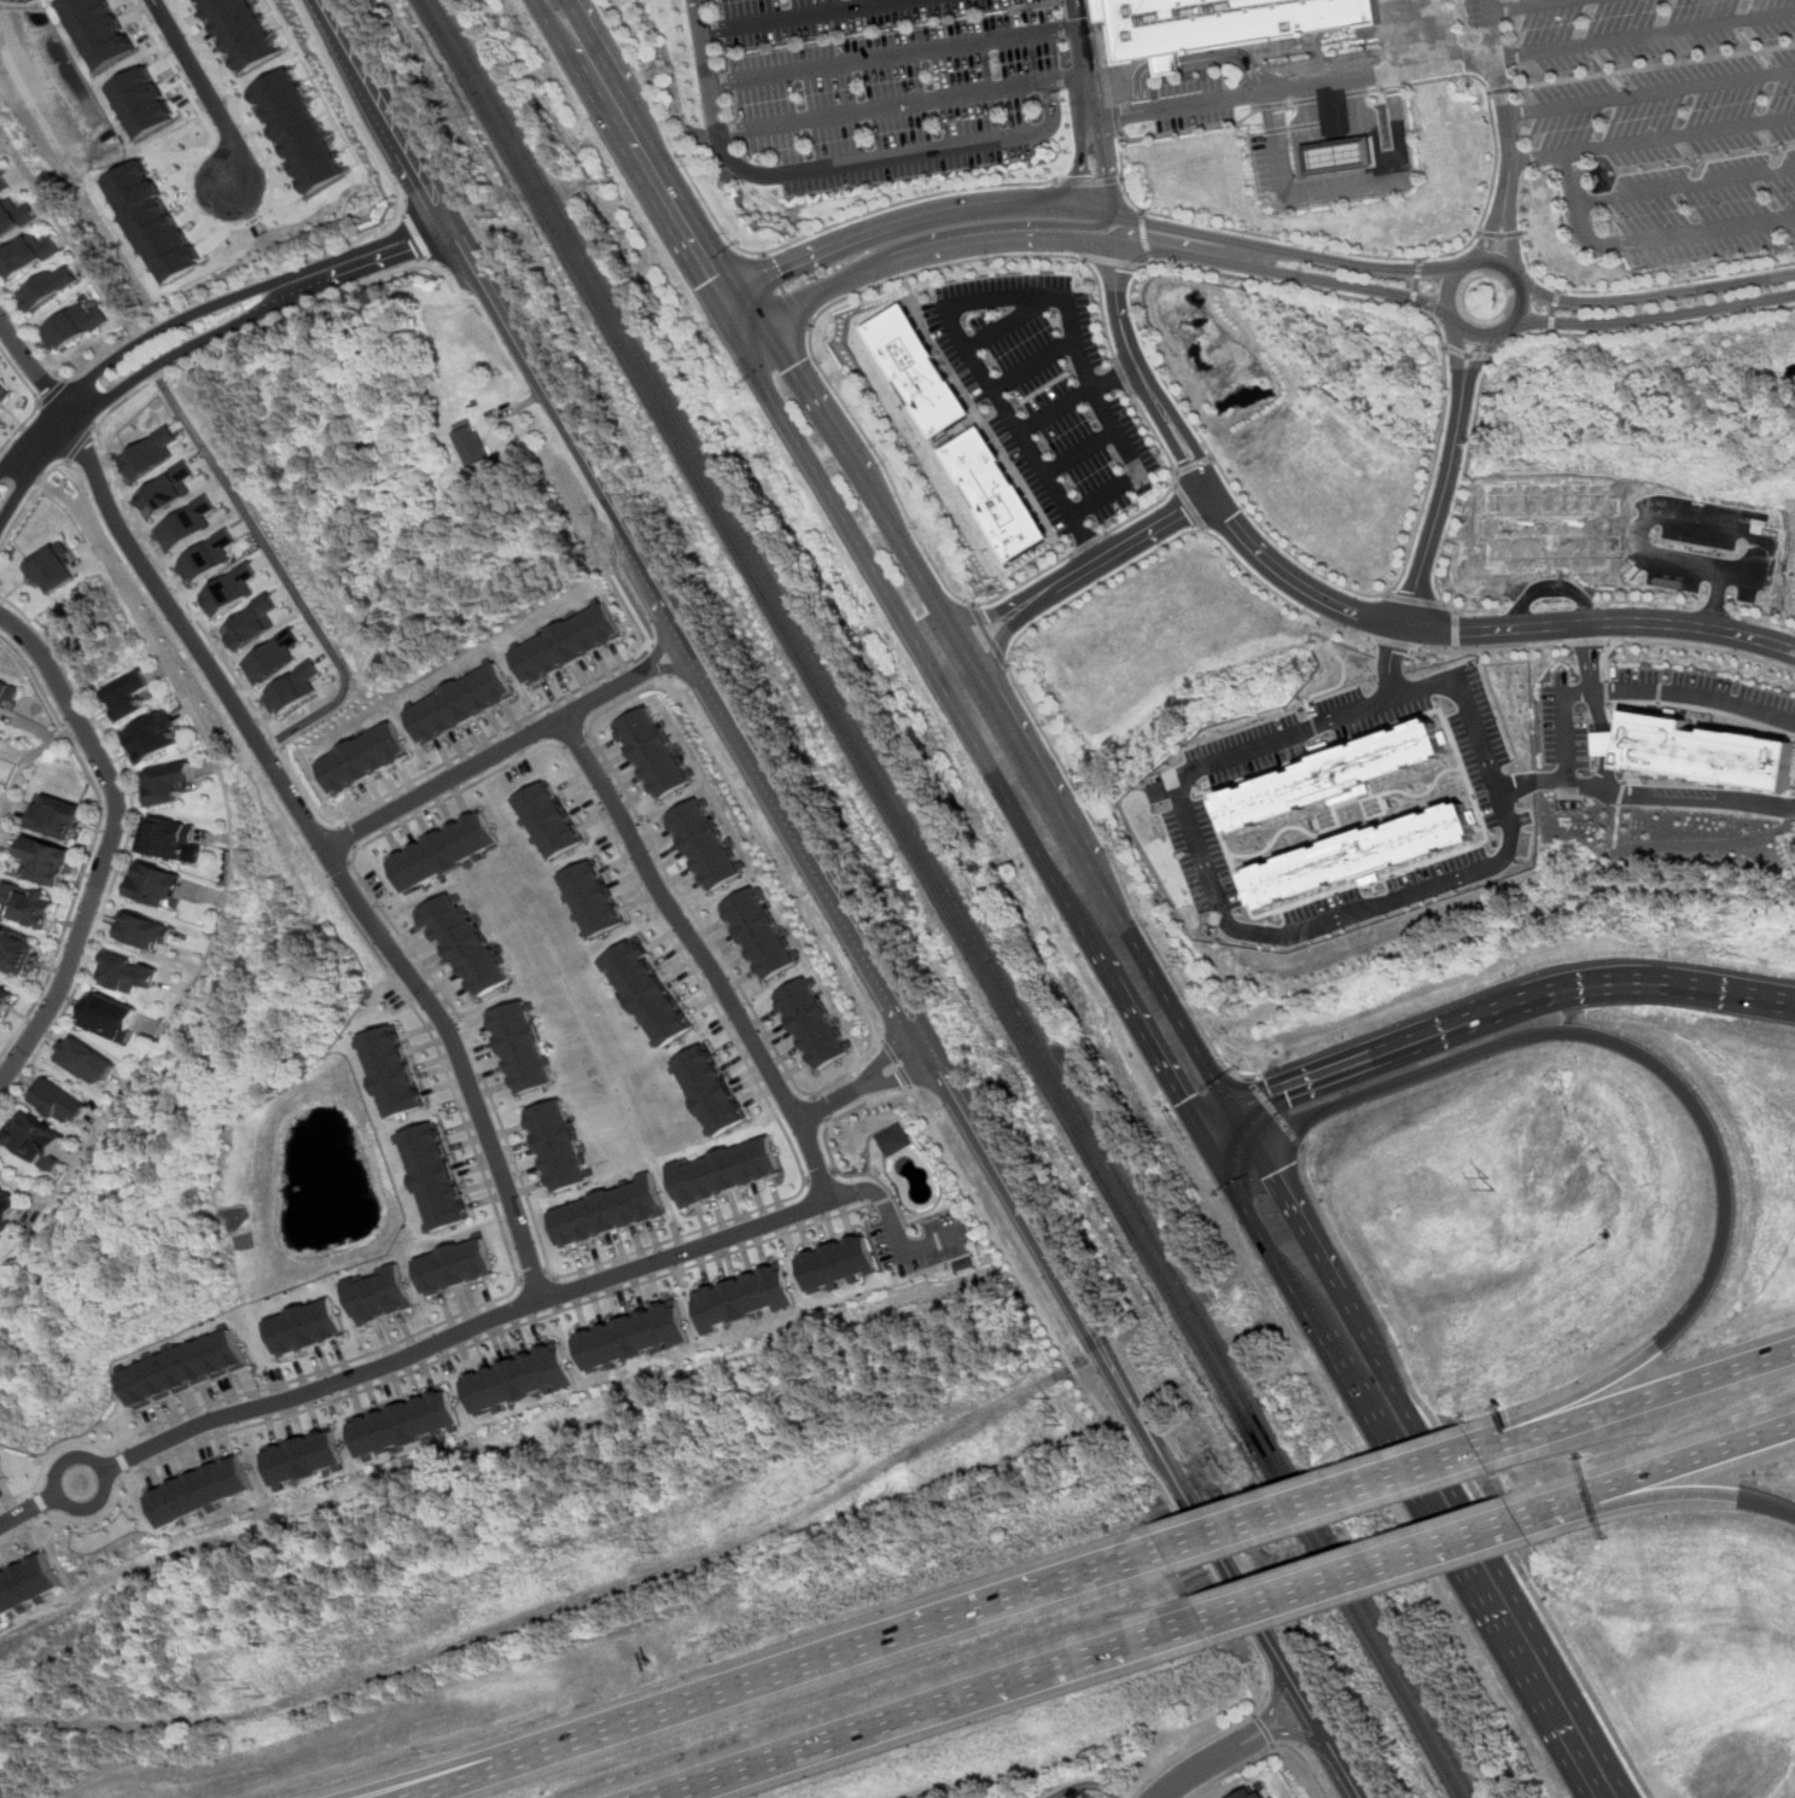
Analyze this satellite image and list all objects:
road: (322, 2)
road: (1527, 6)
road: (803, 16)
building: (1223, 19)
building: (100, 29)
building: (240, 31)
road: (1439, 33)
road: (1645, 34)
road: (1749, 47)
road: (894, 58)
road: (1199, 59)
road: (1084, 62)
road: (1655, 65)
road: (706, 66)
road: (174, 68)
road: (1607, 70)
road: (1498, 82)
road: (200, 85)
parking lot: (891, 85)
road: (1294, 88)
road: (1502, 88)
road: (1649, 94)
building: (141, 101)
parking lot: (1197, 103)
road: (901, 104)
road: (232, 105)
road: (350, 106)
road: (384, 112)
parking lot: (1662, 117)
road: (1194, 130)
building: (297, 132)
road: (1651, 139)
road: (5, 149)
building: (1340, 155)
gas station: (1340, 155)
road: (898, 156)
road: (629, 161)
road: (665, 162)
road: (1085, 167)
road: (1107, 167)
road: (1126, 174)
road: (1689, 180)
road: (1094, 181)
building: (4, 185)
road: (1348, 188)
road: (1584, 208)
road: (1076, 211)
road: (1496, 211)
building: (16, 215)
road: (1510, 219)
building: (152, 221)
road: (1016, 223)
road: (1706, 233)
road: (69, 234)
road: (418, 235)
road: (1500, 235)
road: (1083, 238)
road: (1148, 238)
road: (1196, 243)
road: (763, 252)
building: (28, 256)
road: (1434, 256)
road: (1117, 261)
road: (1418, 267)
traffic signals: (781, 269)
traffic signals: (704, 285)
road: (1417, 285)
building: (48, 286)
road: (231, 286)
road: (1639, 287)
road: (785, 291)
road: (1659, 296)
road: (1050, 298)
road: (1414, 299)
road: (838, 302)
road: (202, 309)
road: (1554, 309)
road: (1651, 318)
road: (1439, 324)
building: (71, 326)
road: (1006, 326)
road: (1640, 328)
road: (1487, 338)
road: (28, 341)
road: (200, 341)
road: (518, 341)
road: (1468, 354)
traffic signals: (795, 366)
road: (1035, 366)
road: (1461, 370)
building: (917, 373)
road: (1474, 373)
road: (1123, 376)
road: (19, 377)
building: (4, 390)
road: (52, 391)
parking lot: (1044, 391)
road: (1077, 398)
road: (93, 426)
road: (19, 429)
road: (837, 435)
road: (1019, 437)
road: (992, 438)
road: (78, 443)
building: (470, 443)
road: (104, 454)
building: (148, 454)
road: (1078, 454)
road: (65, 462)
road: (1193, 466)
road: (1136, 467)
road: (1171, 476)
building: (167, 490)
road: (607, 494)
building: (995, 495)
road: (1187, 506)
road: (1657, 508)
road: (1456, 510)
road: (1436, 520)
building: (186, 524)
building: (1552, 528)
road: (1088, 543)
road: (1118, 547)
building: (208, 557)
building: (48, 569)
road: (281, 571)
road: (1022, 582)
road: (1550, 586)
building: (231, 589)
road: (1387, 594)
road: (1417, 600)
road: (892, 601)
road: (1649, 601)
road: (1587, 603)
road: (1555, 605)
road: (1519, 606)
road: (1714, 609)
road: (634, 610)
road: (1055, 611)
road: (1346, 612)
road: (983, 615)
road: (945, 619)
road: (1764, 619)
building: (252, 623)
road: (1456, 628)
road: (987, 636)
road: (1001, 642)
building: (567, 644)
road: (1585, 644)
road: (1610, 644)
road: (1686, 645)
road: (1456, 650)
building: (273, 657)
road: (664, 659)
road: (1592, 673)
building: (293, 688)
road: (1607, 692)
parking lot: (1704, 694)
building: (5, 697)
building: (128, 698)
road: (626, 700)
building: (461, 703)
road: (1702, 710)
parking lot: (1563, 726)
road: (1563, 735)
road: (495, 737)
building: (2, 738)
building: (152, 739)
road: (575, 740)
road: (1604, 743)
road: (507, 747)
building: (653, 751)
building: (1703, 752)
building: (363, 757)
road: (24, 769)
road: (1628, 774)
building: (1333, 775)
road: (1604, 776)
road: (1533, 780)
parking lot: (1794, 780)
road: (769, 782)
building: (168, 784)
building: (1160, 792)
road: (1618, 793)
road: (292, 799)
road: (1055, 805)
building: (63, 819)
building: (548, 819)
building: (170, 838)
road: (349, 838)
road: (93, 843)
building: (703, 844)
road: (1711, 844)
road: (110, 845)
road: (126, 845)
road: (237, 846)
building: (445, 851)
building: (1360, 855)
building: (51, 863)
road: (355, 863)
road: (340, 868)
building: (159, 885)
road: (798, 895)
building: (588, 898)
railway: (940, 898)
railway: (954, 898)
building: (31, 907)
road: (1344, 917)
road: (693, 919)
building: (146, 930)
building: (758, 932)
building: (466, 943)
building: (18, 953)
building: (128, 972)
building: (642, 993)
building: (5, 997)
road: (1508, 1012)
road: (1132, 1016)
road: (1178, 1018)
building: (116, 1019)
building: (810, 1023)
road: (878, 1040)
building: (520, 1046)
road: (887, 1053)
building: (87, 1060)
road: (444, 1061)
road: (897, 1065)
building: (394, 1071)
road: (902, 1076)
building: (706, 1089)
traffic signals: (1272, 1096)
road: (1694, 1096)
road: (829, 1101)
traffic signals: (1182, 1101)
building: (58, 1102)
road: (818, 1110)
road: (1275, 1112)
road: (1242, 1128)
road: (1222, 1130)
building: (892, 1140)
building: (37, 1141)
road: (1229, 1144)
building: (555, 1145)
road: (868, 1146)
road: (987, 1150)
building: (722, 1171)
road: (837, 1173)
building: (436, 1176)
traffic signals: (1270, 1176)
road: (817, 1177)
power tower: (1490, 1183)
road: (880, 1200)
road: (1241, 1203)
building: (8, 1212)
building: (607, 1212)
road: (891, 1229)
road: (722, 1237)
road: (934, 1241)
road: (1309, 1243)
building: (837, 1262)
building: (459, 1265)
road: (938, 1267)
road: (536, 1276)
building: (383, 1293)
road: (559, 1294)
building: (745, 1298)
building: (307, 1327)
building: (635, 1336)
road: (426, 1366)
building: (186, 1368)
building: (518, 1378)
road: (1080, 1379)
road: (1644, 1401)
power tower: (1055, 1408)
building: (403, 1422)
building: (307, 1460)
road: (128, 1461)
road: (1167, 1461)
road: (63, 1467)
building: (2, 1471)
road: (1662, 1471)
road: (1467, 1476)
building: (203, 1490)
road: (1662, 1495)
road: (1330, 1502)
road: (42, 1503)
road: (29, 1509)
road: (1429, 1528)
power tower: (653, 1544)
road: (1368, 1565)
road: (1498, 1571)
building: (24, 1582)
road: (785, 1677)
power tower: (251, 1687)
road: (1306, 1703)
road: (929, 1707)
road: (1272, 1710)
road: (1264, 1729)
road: (1283, 1734)
road: (1217, 1736)
road: (1265, 1750)
road: (1195, 1770)
road: (1346, 1771)
road: (450, 1775)
road: (1084, 1786)
building: (1251, 1793)

